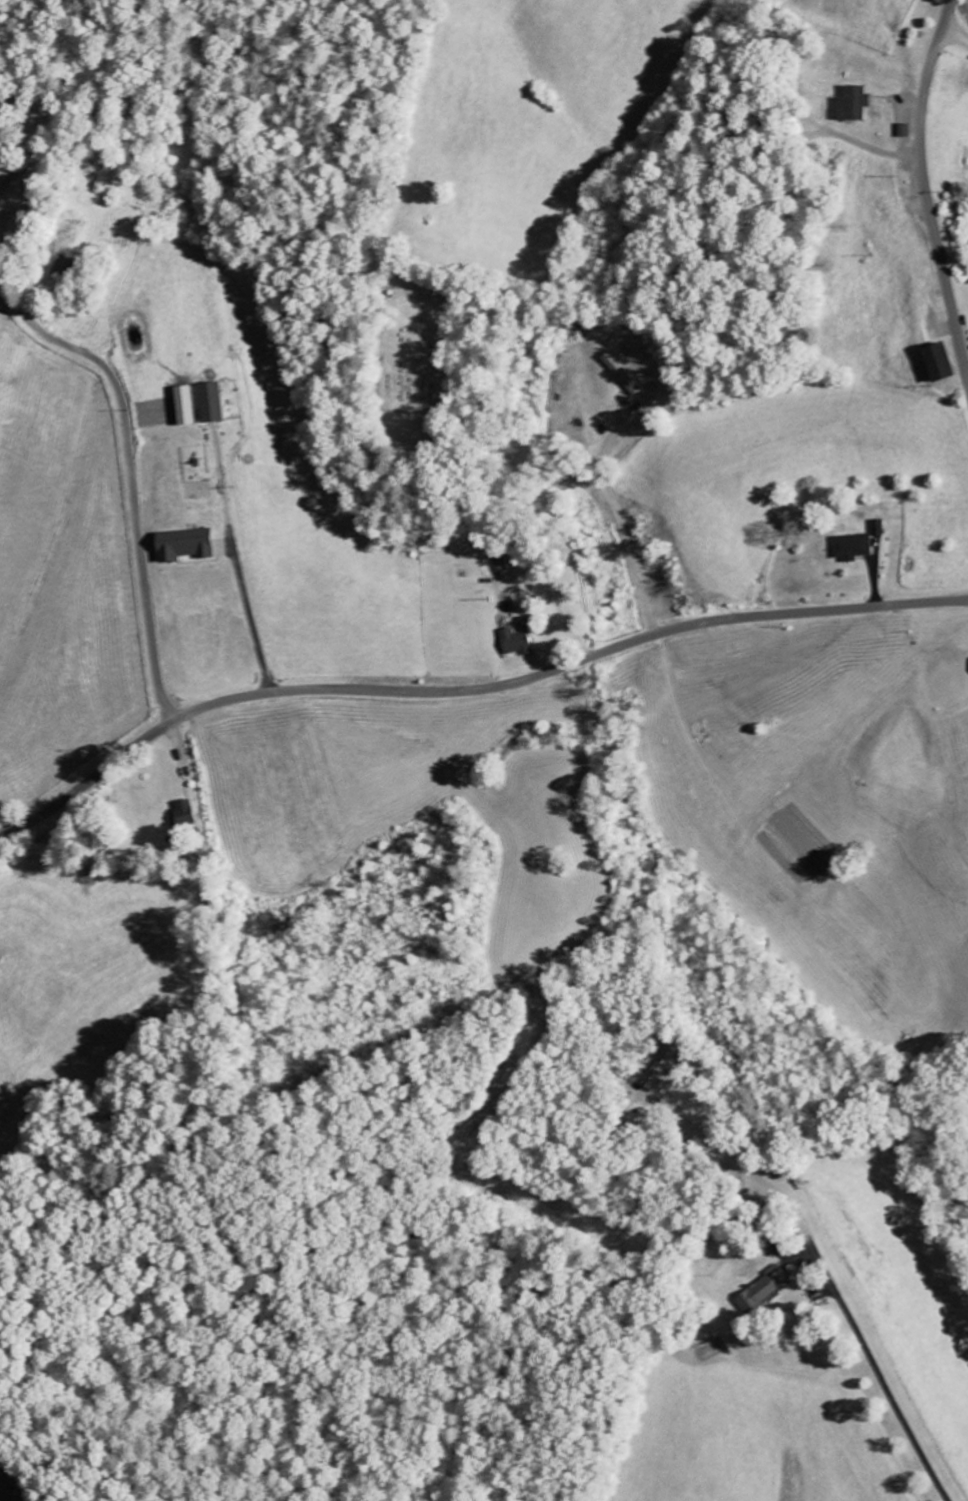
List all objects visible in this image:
road: (956, 36)
building: (851, 104)
building: (902, 131)
road: (924, 185)
building: (936, 364)
building: (210, 404)
building: (183, 406)
road: (130, 474)
road: (515, 532)
building: (183, 545)
building: (851, 547)
building: (499, 564)
building: (515, 642)
road: (469, 689)
building: (184, 814)
building: (659, 1067)
building: (762, 1291)
road: (879, 1376)

